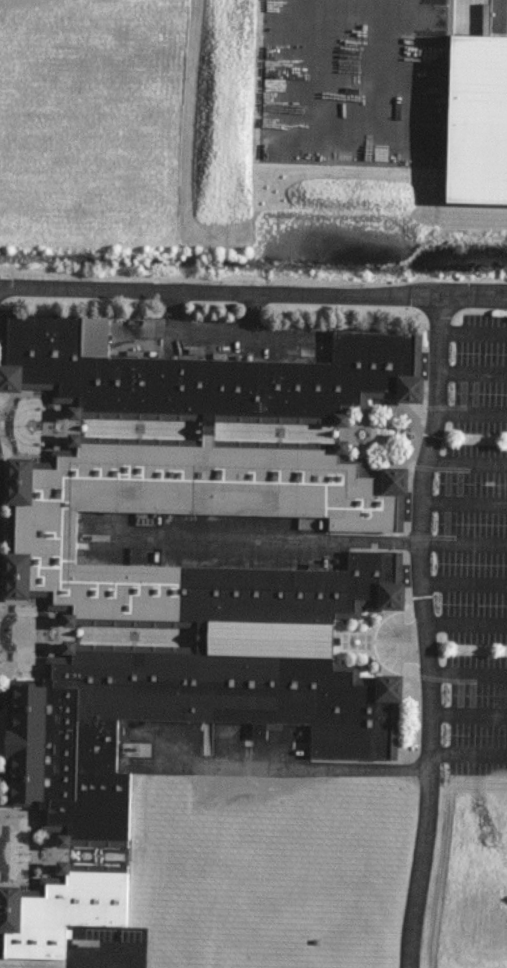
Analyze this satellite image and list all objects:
road: (253, 292)
road: (472, 331)
road: (471, 374)
building: (211, 377)
road: (470, 411)
road: (466, 462)
road: (464, 502)
road: (420, 526)
road: (463, 544)
road: (464, 582)
road: (466, 625)
road: (468, 673)
road: (468, 715)
road: (419, 822)

